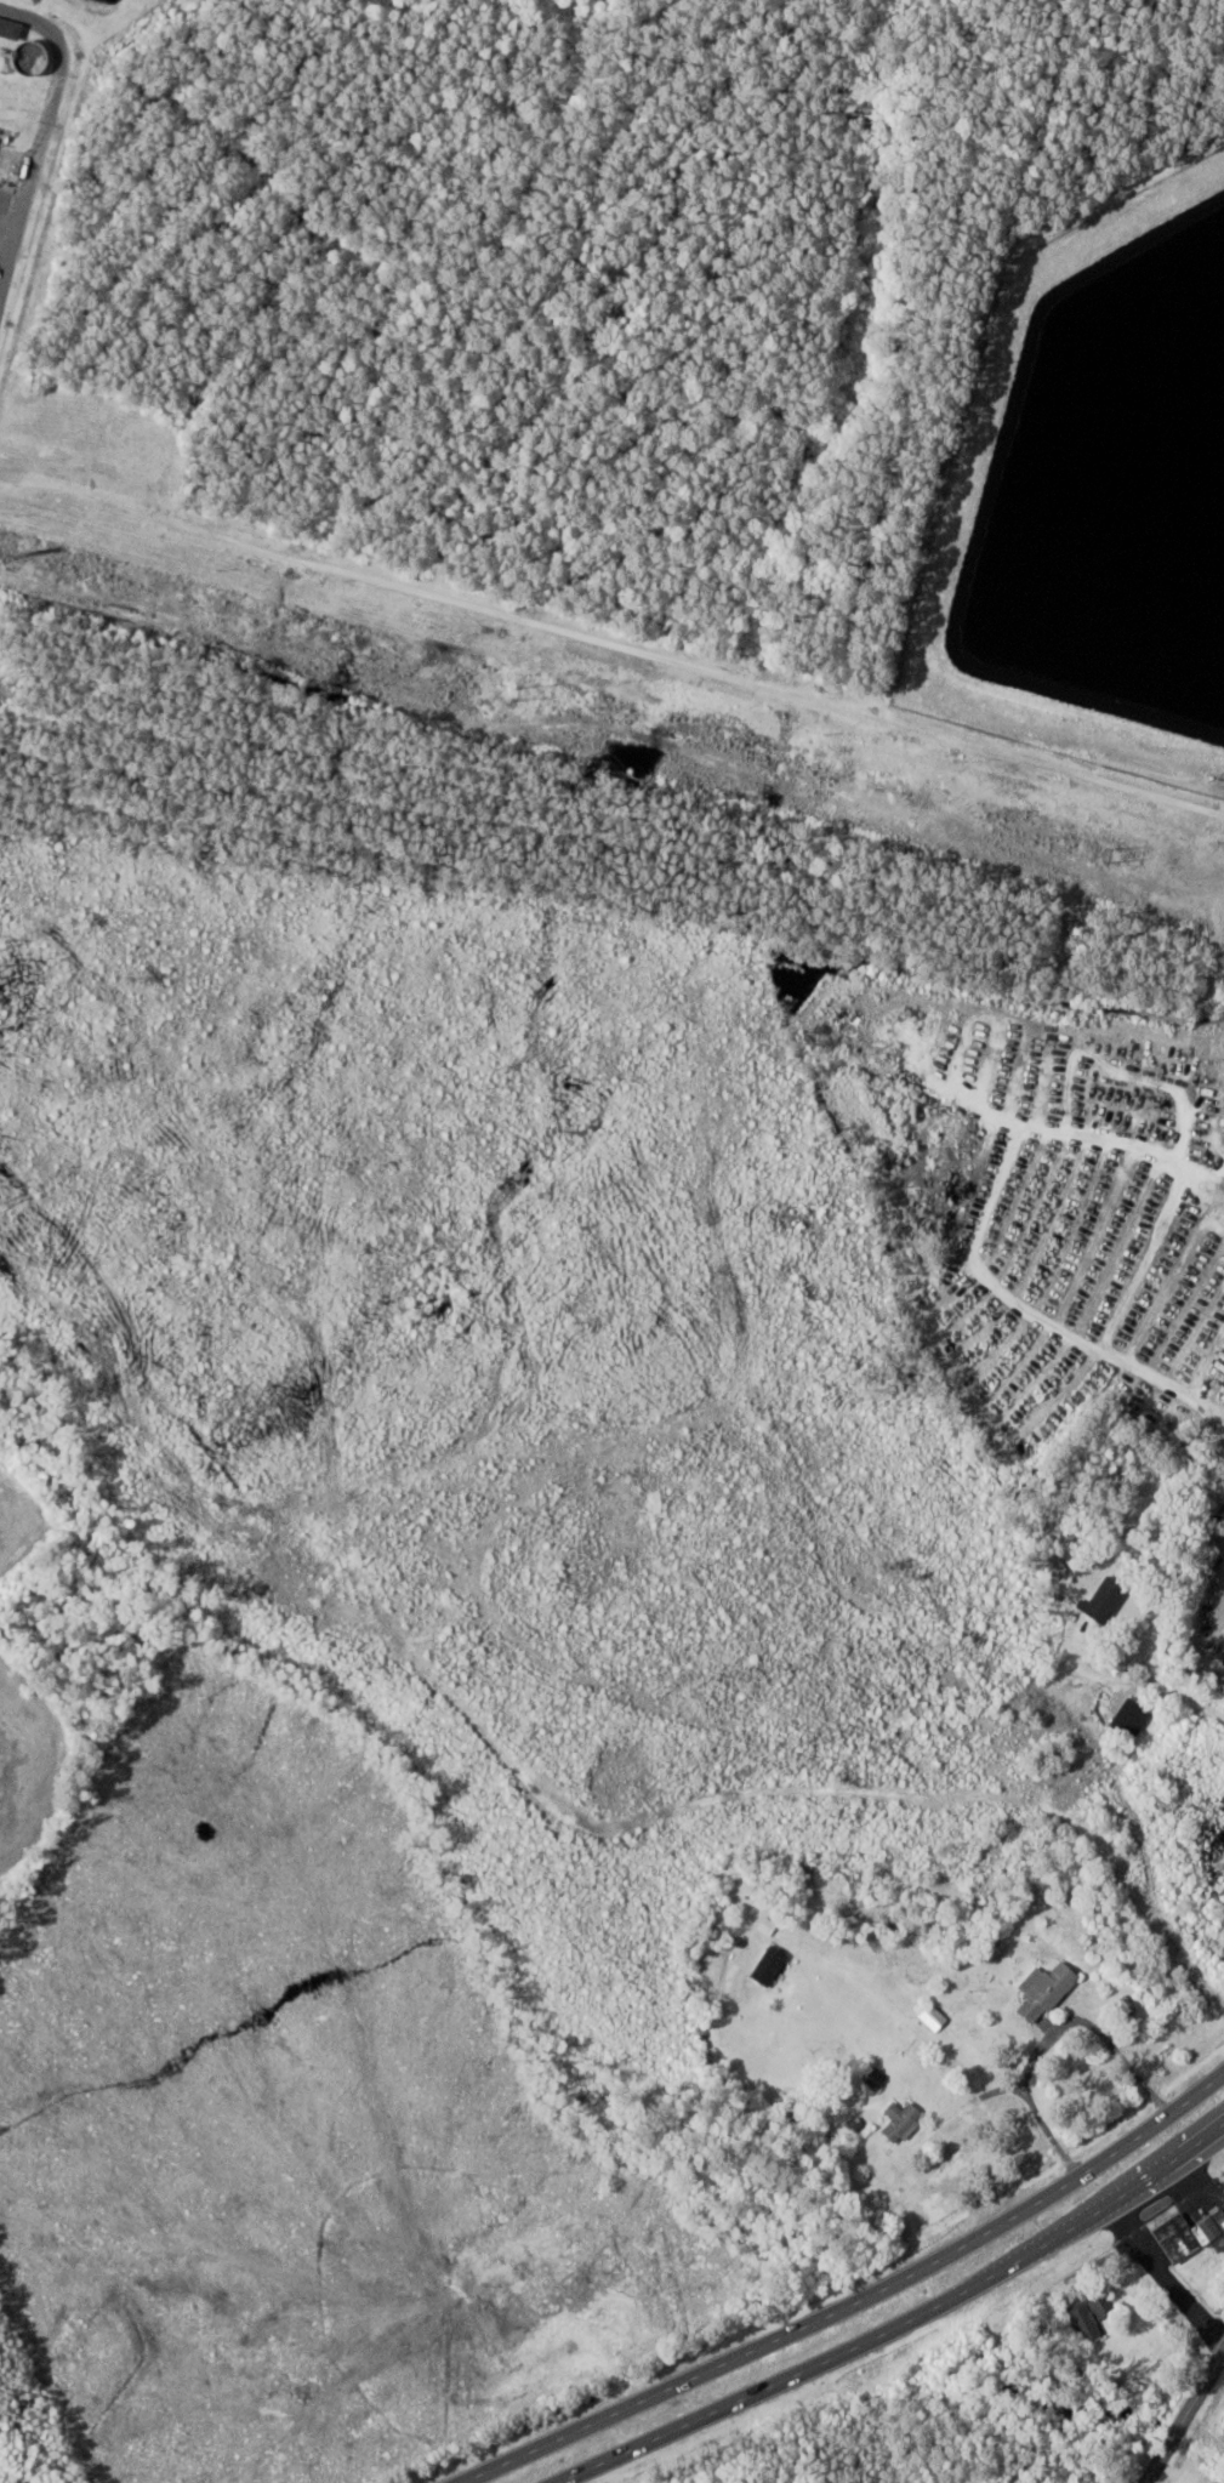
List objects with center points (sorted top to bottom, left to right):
wastewater plant: (41, 123)
power tower: (519, 693)
power tower: (1103, 854)
road: (1042, 1321)
building: (1108, 1601)
road: (1156, 1681)
building: (1132, 1718)
building: (1052, 1756)
building: (770, 1966)
building: (1048, 1991)
building: (935, 2017)
road: (1049, 2033)
road: (970, 2103)
building: (905, 2122)
building: (1192, 2236)
road: (850, 2302)
building: (1093, 2316)
road: (898, 2322)
road: (1182, 2415)

